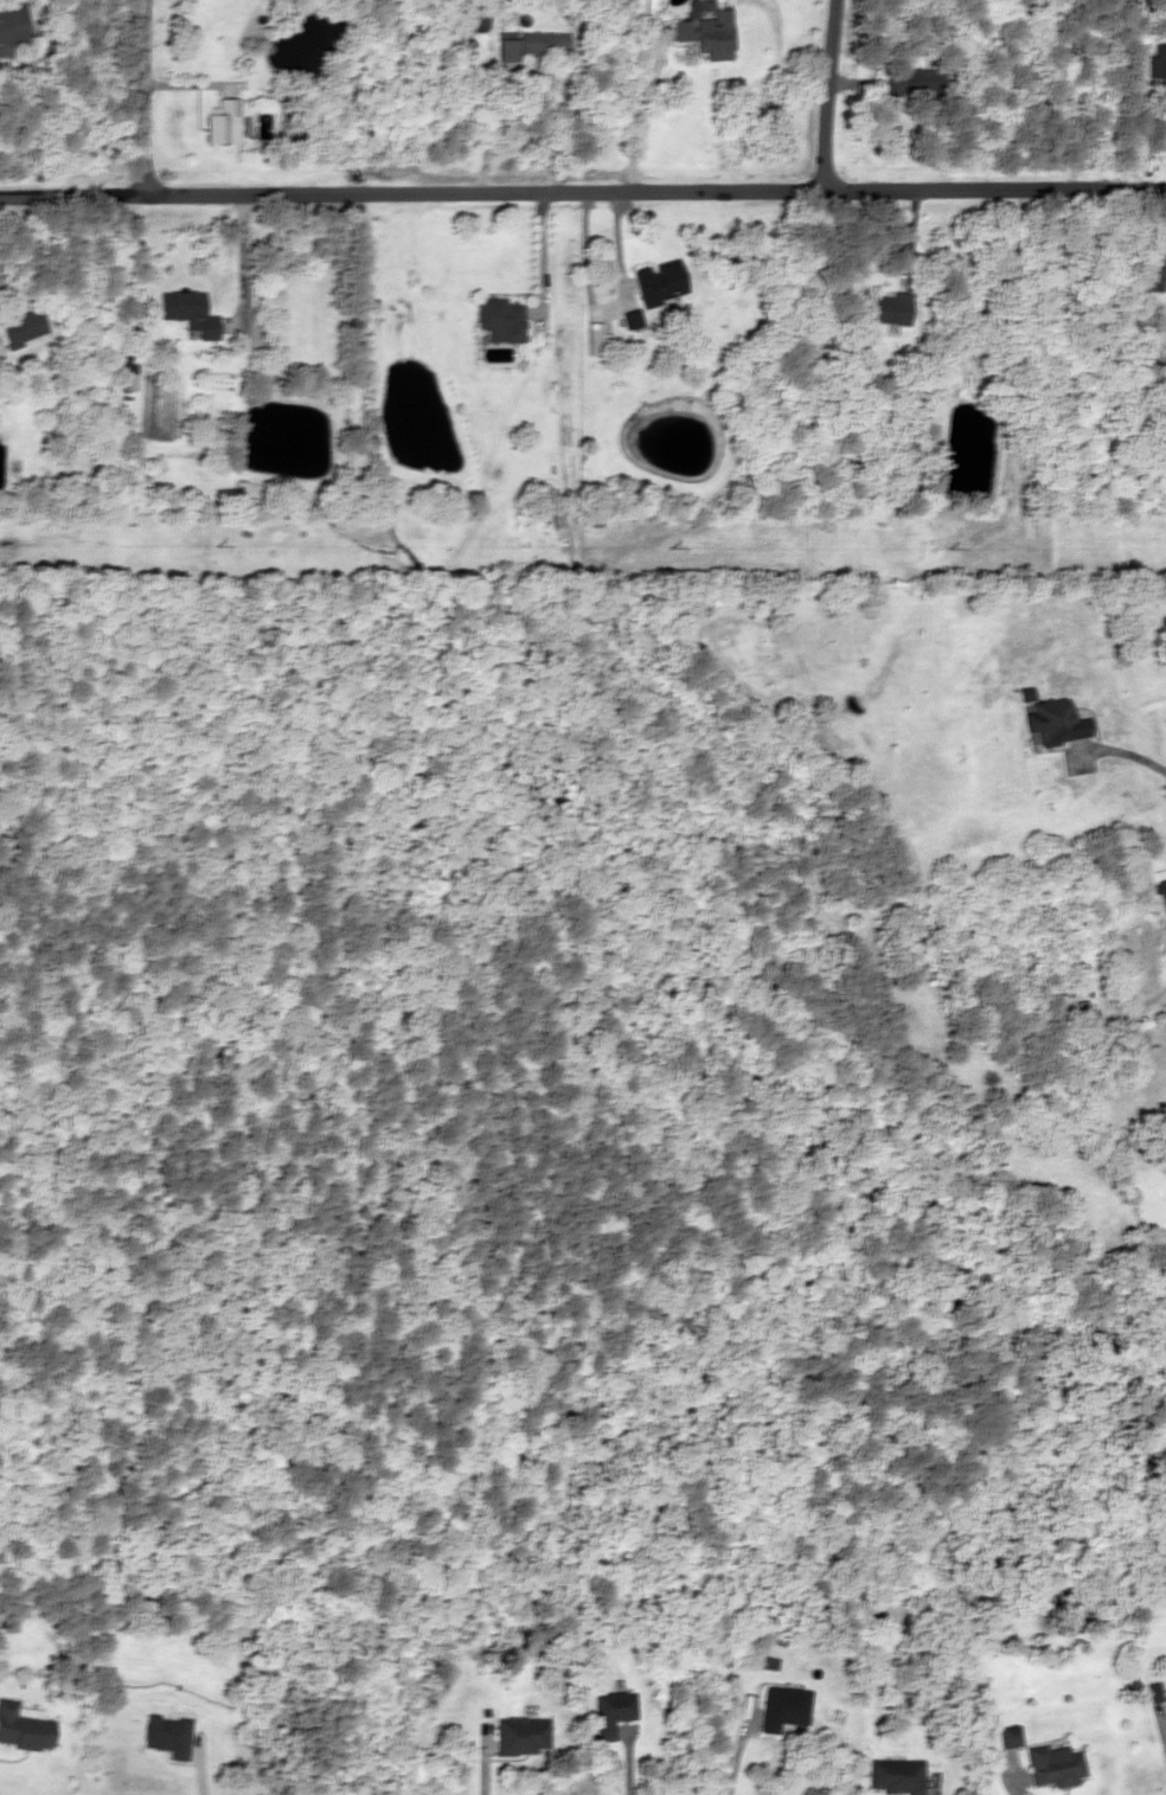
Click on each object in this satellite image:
building: (9, 27)
building: (707, 32)
building: (555, 43)
building: (1157, 57)
building: (910, 83)
road: (826, 92)
road: (142, 96)
building: (222, 122)
road: (583, 190)
building: (1154, 273)
building: (658, 281)
building: (886, 308)
building: (186, 312)
building: (499, 319)
building: (21, 327)
building: (591, 340)
building: (128, 371)
building: (1056, 722)
building: (1161, 895)
building: (1082, 1025)
building: (781, 1709)
building: (609, 1712)
building: (23, 1729)
building: (166, 1736)
building: (518, 1736)
building: (1007, 1737)
building: (1052, 1765)
building: (892, 1777)

